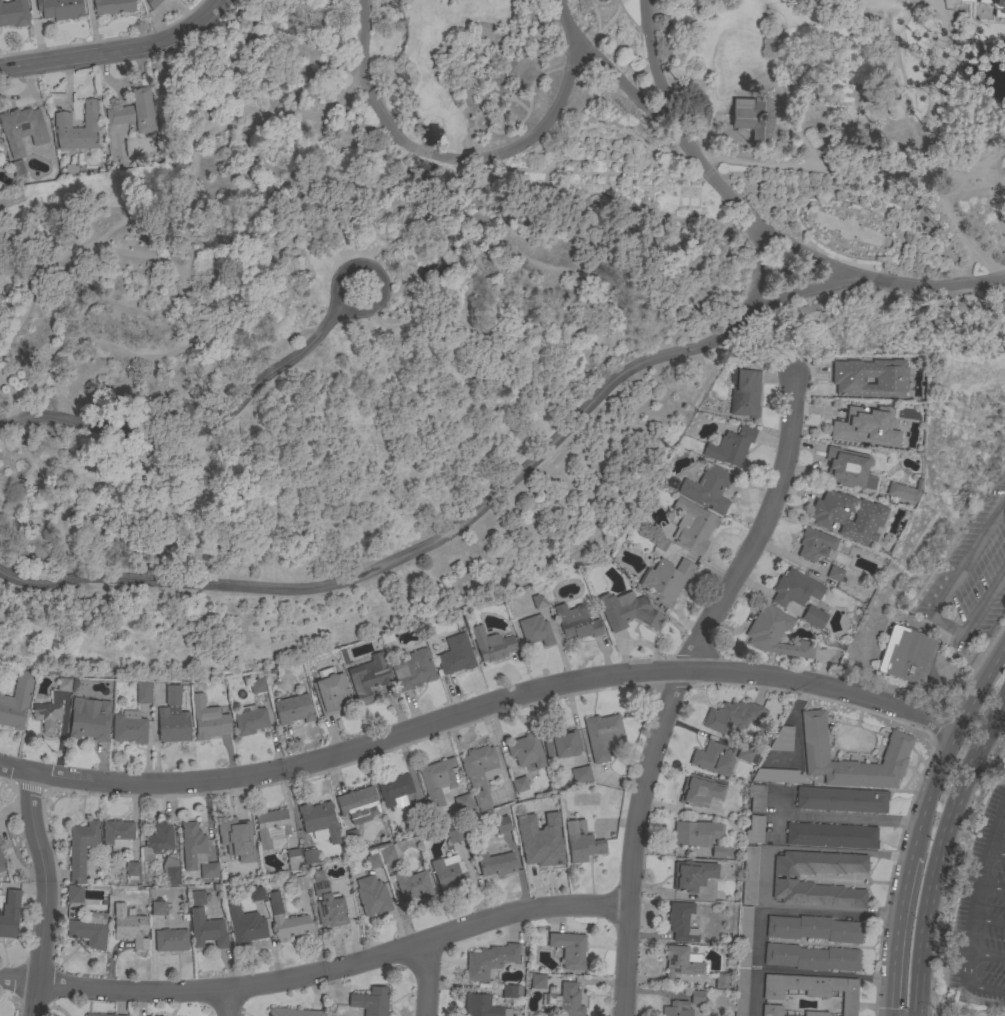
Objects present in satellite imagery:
road: (600, 2)
building: (152, 3)
building: (112, 6)
building: (995, 7)
building: (59, 9)
building: (14, 13)
road: (595, 16)
road: (629, 20)
road: (602, 26)
road: (813, 42)
road: (117, 52)
road: (604, 65)
road: (366, 80)
road: (728, 81)
road: (506, 94)
road: (521, 102)
road: (528, 105)
building: (134, 112)
building: (755, 114)
road: (424, 115)
road: (417, 119)
road: (404, 126)
building: (77, 128)
building: (22, 129)
road: (605, 129)
road: (603, 134)
road: (664, 136)
road: (606, 139)
road: (641, 139)
road: (529, 140)
road: (581, 145)
road: (591, 145)
road: (597, 146)
road: (615, 146)
road: (621, 146)
road: (607, 148)
road: (923, 148)
road: (420, 150)
road: (625, 158)
road: (407, 159)
building: (17, 168)
road: (811, 169)
road: (606, 170)
road: (603, 171)
road: (377, 173)
road: (636, 174)
road: (579, 177)
road: (687, 182)
road: (567, 184)
road: (697, 188)
fountain: (414, 190)
road: (687, 197)
road: (687, 197)
road: (830, 204)
road: (660, 205)
road: (677, 205)
road: (388, 212)
road: (438, 216)
road: (759, 223)
road: (804, 236)
road: (369, 249)
road: (519, 260)
road: (760, 267)
road: (31, 272)
road: (340, 272)
road: (75, 277)
road: (181, 277)
park: (456, 297)
road: (113, 299)
road: (568, 306)
building: (803, 314)
road: (94, 340)
building: (750, 364)
building: (854, 371)
building: (743, 392)
building: (852, 425)
road: (191, 426)
building: (730, 446)
building: (849, 468)
building: (708, 488)
building: (905, 491)
building: (840, 513)
road: (460, 526)
building: (692, 526)
building: (866, 540)
building: (661, 544)
building: (815, 544)
building: (834, 573)
park: (971, 578)
building: (665, 580)
parking lot: (970, 580)
building: (795, 588)
building: (539, 600)
road: (936, 606)
building: (628, 612)
building: (814, 617)
building: (576, 621)
building: (535, 630)
building: (774, 633)
building: (491, 644)
building: (455, 655)
building: (909, 656)
building: (413, 670)
building: (368, 677)
building: (257, 685)
road: (674, 685)
building: (143, 692)
building: (331, 693)
building: (16, 701)
building: (52, 705)
building: (293, 709)
road: (461, 712)
building: (732, 716)
building: (172, 718)
building: (208, 719)
building: (250, 719)
building: (89, 720)
building: (129, 727)
road: (934, 728)
building: (603, 736)
building: (782, 739)
building: (561, 743)
road: (944, 745)
building: (897, 748)
building: (526, 751)
building: (747, 754)
building: (712, 758)
building: (478, 773)
building: (580, 774)
building: (776, 775)
building: (437, 780)
building: (519, 784)
building: (395, 790)
building: (699, 791)
building: (756, 797)
building: (841, 799)
building: (462, 803)
building: (358, 804)
building: (417, 811)
road: (770, 814)
road: (1002, 818)
building: (319, 821)
building: (502, 824)
building: (271, 828)
building: (754, 829)
building: (554, 830)
building: (231, 831)
building: (453, 833)
building: (696, 833)
building: (118, 834)
building: (831, 835)
building: (352, 836)
building: (581, 841)
building: (157, 842)
building: (81, 848)
road: (937, 848)
road: (839, 850)
building: (196, 851)
building: (720, 851)
road: (995, 851)
building: (389, 853)
building: (538, 853)
building: (310, 856)
building: (293, 859)
building: (372, 859)
building: (496, 863)
building: (2, 864)
building: (250, 866)
road: (947, 867)
building: (132, 870)
building: (170, 871)
building: (449, 874)
building: (693, 875)
building: (749, 875)
road: (981, 877)
building: (784, 880)
building: (299, 881)
building: (413, 885)
road: (992, 887)
building: (256, 893)
road: (44, 894)
building: (74, 894)
building: (372, 896)
building: (198, 898)
building: (327, 902)
building: (158, 908)
parking lot: (983, 911)
building: (9, 914)
road: (829, 914)
building: (285, 919)
road: (989, 921)
building: (681, 922)
building: (244, 924)
building: (129, 926)
building: (813, 928)
building: (206, 929)
building: (89, 930)
road: (894, 934)
building: (171, 940)
building: (569, 949)
building: (811, 957)
road: (986, 957)
building: (489, 960)
building: (743, 961)
building: (681, 962)
road: (757, 964)
road: (965, 970)
road: (316, 972)
road: (823, 973)
road: (424, 979)
building: (722, 980)
building: (535, 981)
building: (812, 988)
road: (984, 990)
building: (511, 991)
road: (754, 991)
building: (697, 997)
building: (566, 1000)
building: (371, 1001)
road: (225, 1003)
building: (482, 1006)
building: (676, 1009)
building: (771, 1010)
building: (292, 1012)
building: (815, 1013)
building: (102, 1014)
road: (932, 1015)

